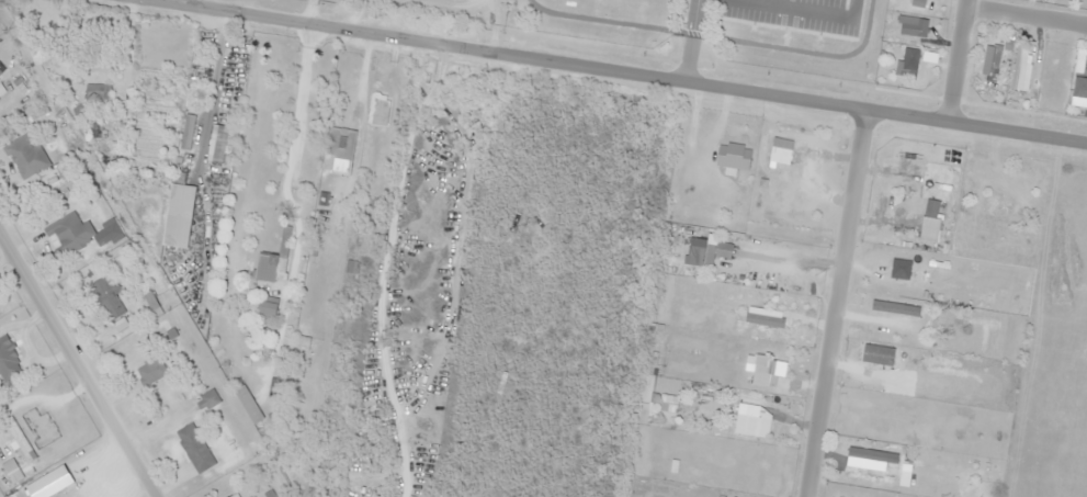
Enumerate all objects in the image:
road: (1022, 16)
road: (688, 41)
road: (956, 64)
road: (608, 70)
building: (0, 71)
building: (95, 91)
building: (377, 109)
building: (337, 145)
building: (24, 155)
building: (180, 200)
building: (66, 228)
building: (105, 231)
building: (106, 298)
road: (836, 303)
building: (265, 307)
building: (8, 360)
road: (73, 370)
building: (149, 371)
building: (279, 383)
building: (205, 399)
building: (247, 404)
building: (39, 427)
building: (18, 438)
building: (193, 448)
building: (10, 471)
building: (233, 495)

